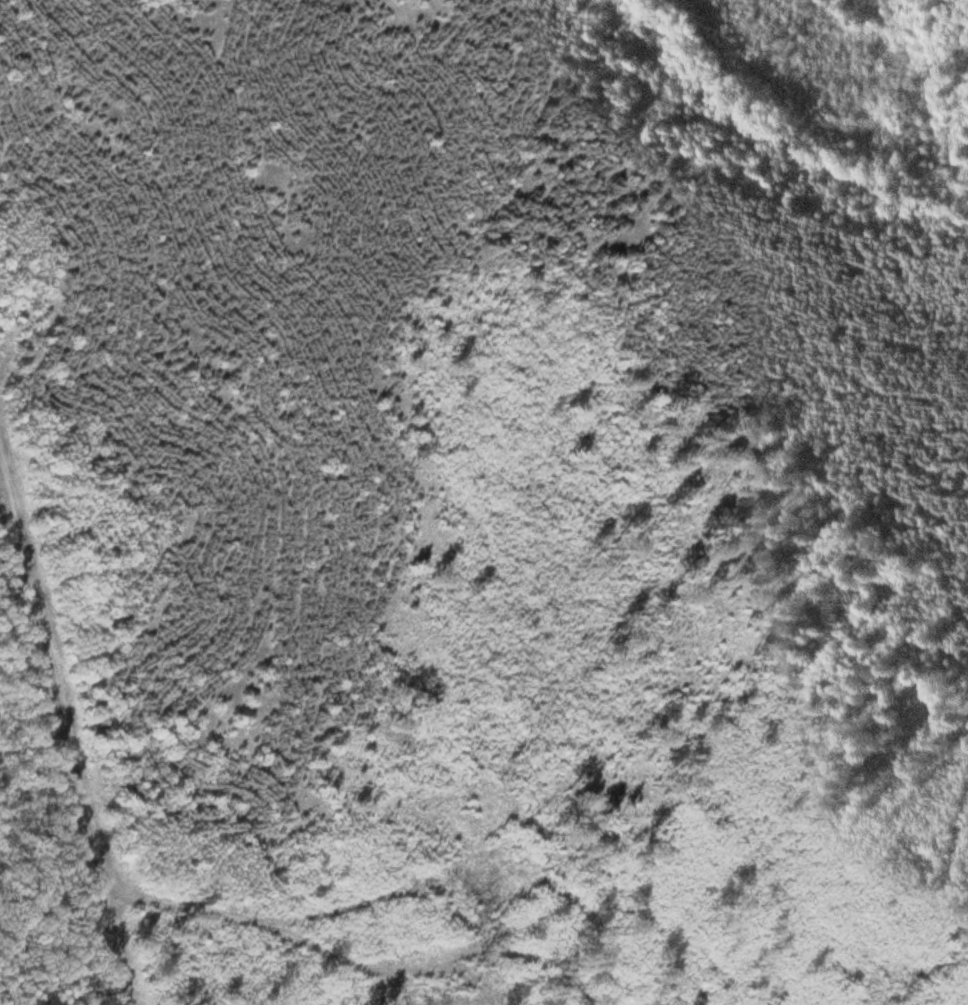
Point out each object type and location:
road: (66, 722)

